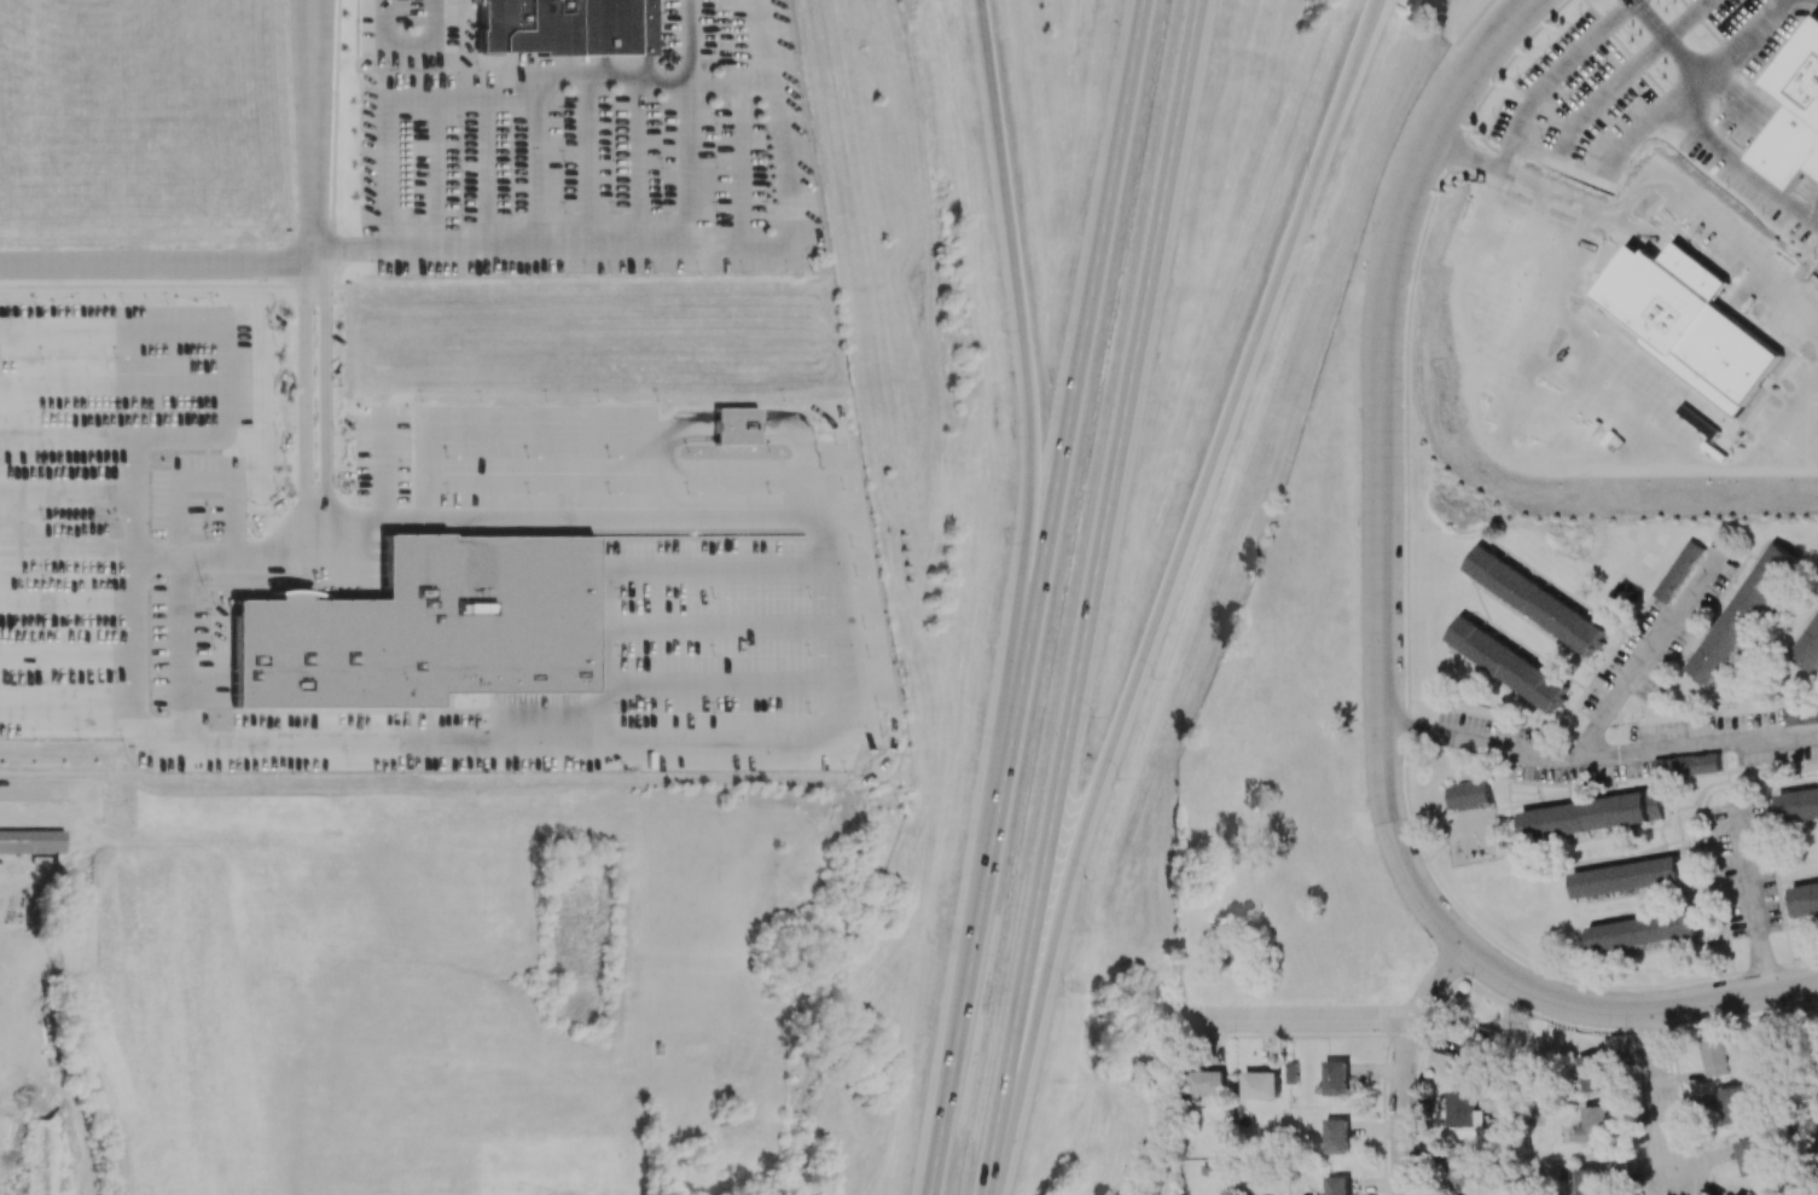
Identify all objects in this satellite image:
road: (1814, 2)
road: (1473, 22)
road: (1706, 24)
building: (564, 27)
road: (1672, 39)
road: (691, 40)
road: (408, 43)
road: (469, 46)
road: (507, 91)
road: (1741, 101)
building: (1794, 114)
parking lot: (1655, 115)
road: (1692, 122)
road: (313, 132)
road: (695, 163)
road: (532, 164)
road: (1572, 197)
road: (675, 246)
road: (156, 265)
road: (226, 344)
road: (112, 381)
road: (315, 407)
building: (734, 425)
road: (736, 425)
road: (527, 428)
road: (72, 436)
road: (809, 457)
road: (1030, 481)
road: (70, 547)
road: (143, 550)
building: (1679, 570)
road: (1166, 591)
road: (1034, 597)
road: (1091, 597)
building: (1534, 598)
road: (68, 599)
building: (1744, 613)
building: (426, 627)
road: (1407, 628)
road: (1380, 652)
building: (1808, 654)
road: (66, 655)
road: (1651, 657)
building: (1505, 662)
road: (134, 694)
building: (1801, 713)
road: (156, 727)
road: (791, 741)
road: (1597, 759)
building: (1686, 765)
road: (51, 789)
building: (1469, 795)
building: (1655, 804)
building: (1799, 807)
building: (1584, 816)
building: (31, 841)
building: (1626, 876)
road: (1749, 898)
building: (1805, 898)
building: (1643, 930)
road: (1302, 1020)
building: (1477, 1045)
building: (1715, 1055)
road: (1402, 1062)
building: (1593, 1072)
building: (1336, 1078)
building: (1206, 1081)
building: (1260, 1084)
road: (1661, 1096)
building: (1736, 1106)
building: (1464, 1109)
building: (1595, 1124)
building: (1336, 1135)
building: (1752, 1155)
building: (1588, 1181)
building: (1336, 1185)
building: (1732, 1194)

